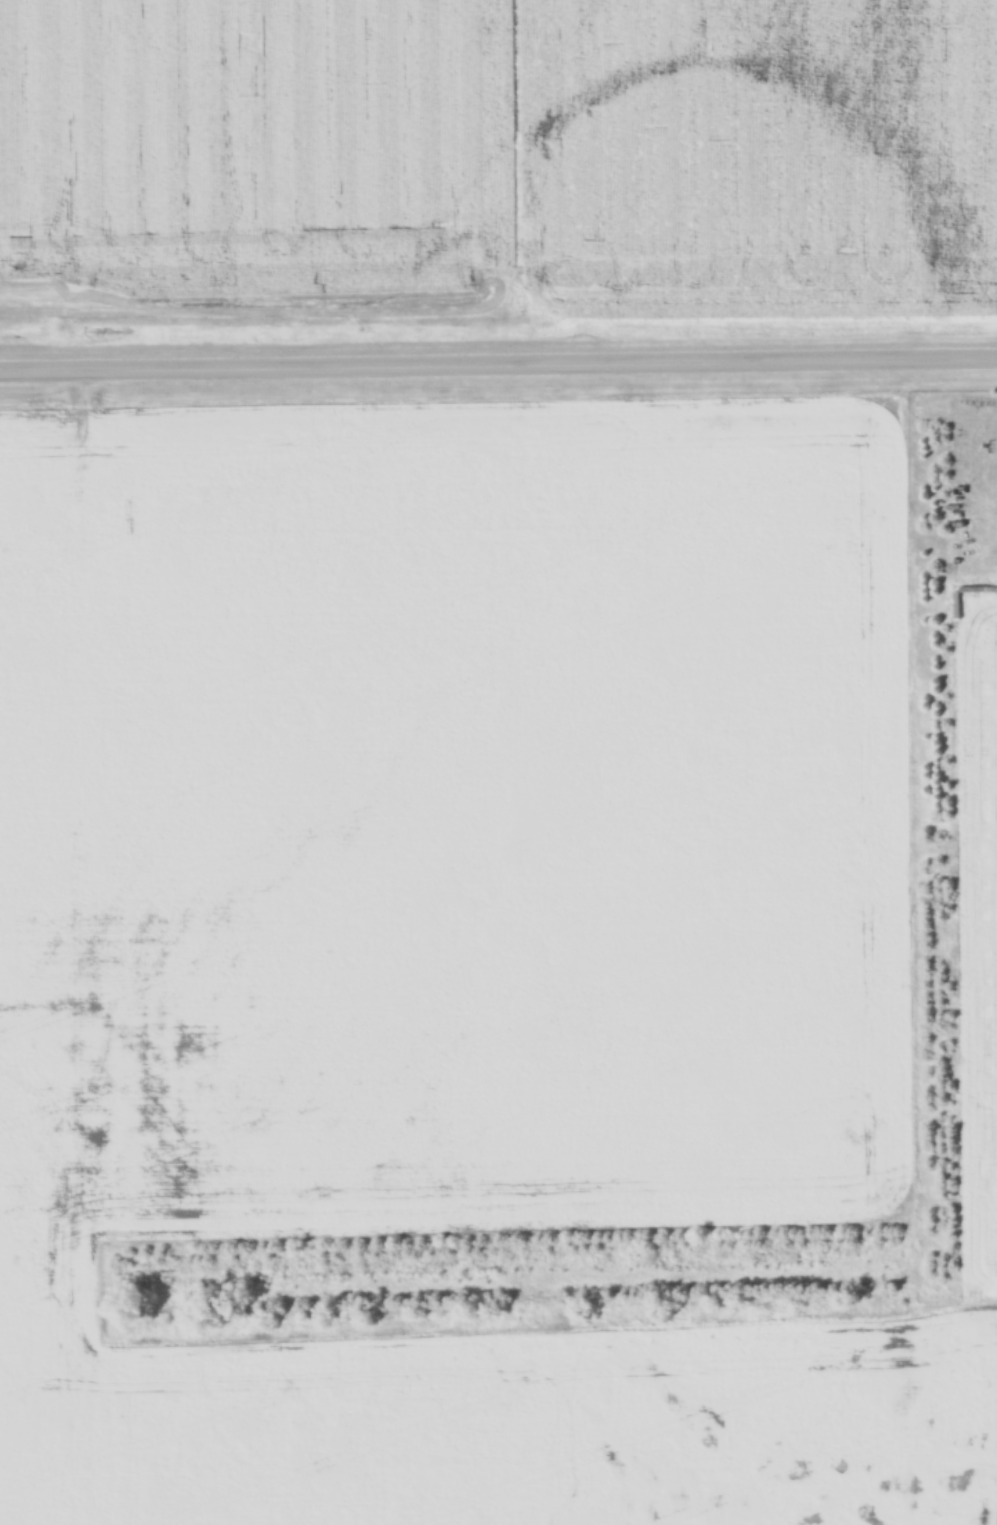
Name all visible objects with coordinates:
road: (498, 365)

